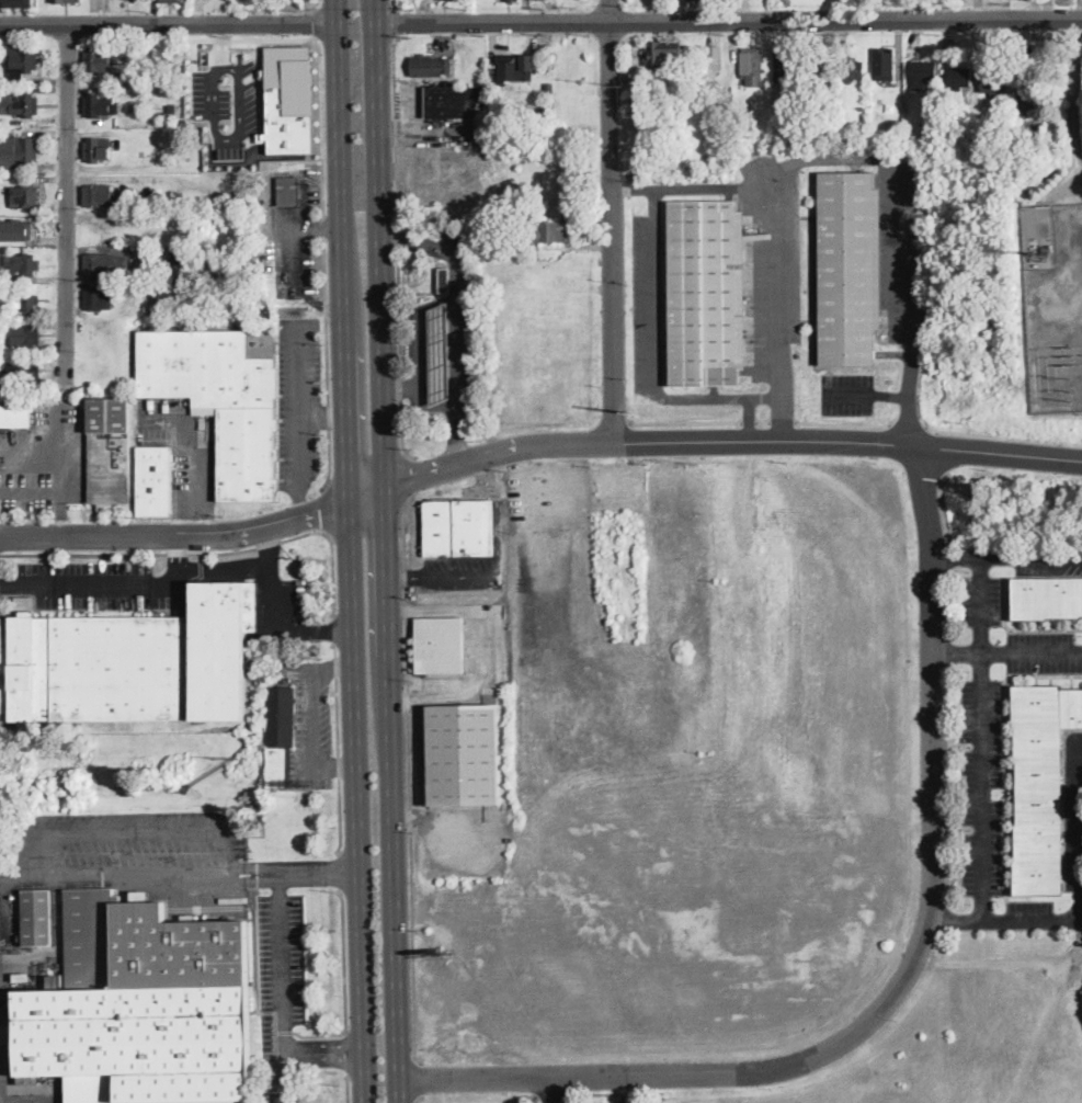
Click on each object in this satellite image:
building: (62, 1)
building: (171, 1)
building: (510, 1)
road: (392, 2)
building: (18, 3)
power tower: (625, 5)
road: (314, 7)
road: (375, 10)
road: (251, 11)
road: (394, 20)
road: (729, 21)
road: (316, 22)
road: (168, 23)
road: (251, 38)
road: (221, 45)
building: (661, 53)
building: (715, 57)
building: (23, 61)
building: (98, 61)
building: (783, 64)
building: (884, 64)
building: (817, 65)
building: (430, 66)
building: (752, 66)
building: (854, 69)
building: (924, 70)
building: (513, 71)
building: (115, 77)
building: (959, 77)
building: (132, 78)
building: (993, 83)
road: (260, 84)
power tower: (626, 86)
road: (240, 87)
building: (549, 88)
building: (1025, 95)
building: (133, 99)
road: (213, 100)
building: (289, 100)
building: (456, 102)
building: (19, 103)
parking lot: (226, 104)
building: (935, 105)
building: (98, 106)
building: (172, 107)
road: (236, 137)
building: (1016, 137)
building: (98, 149)
building: (18, 151)
building: (289, 191)
building: (25, 195)
building: (99, 195)
road: (396, 202)
road: (68, 205)
building: (127, 205)
road: (913, 208)
road: (611, 220)
road: (783, 226)
building: (15, 230)
building: (549, 232)
building: (499, 237)
building: (182, 257)
building: (23, 264)
road: (324, 264)
building: (102, 265)
building: (851, 268)
building: (444, 281)
building: (126, 283)
road: (458, 286)
building: (707, 293)
building: (175, 297)
building: (98, 298)
building: (24, 300)
power substation: (1053, 304)
building: (0, 326)
road: (419, 327)
building: (26, 334)
building: (2, 349)
building: (440, 353)
road: (659, 353)
building: (24, 369)
road: (400, 384)
road: (402, 386)
power tower: (1074, 389)
road: (847, 393)
building: (223, 397)
parking lot: (300, 401)
road: (908, 403)
road: (301, 407)
power tower: (633, 411)
road: (323, 413)
building: (15, 416)
road: (749, 421)
road: (763, 421)
road: (782, 421)
road: (685, 422)
road: (844, 424)
road: (909, 425)
road: (400, 430)
road: (458, 432)
road: (1003, 436)
road: (711, 440)
building: (110, 451)
parking lot: (184, 451)
road: (196, 462)
road: (408, 476)
building: (155, 481)
road: (548, 482)
road: (57, 489)
parking lot: (548, 496)
road: (945, 504)
road: (303, 507)
road: (328, 509)
road: (197, 525)
building: (458, 526)
road: (176, 537)
road: (350, 551)
road: (206, 553)
road: (1006, 556)
road: (180, 561)
road: (388, 561)
road: (226, 566)
road: (498, 566)
parking lot: (464, 571)
parking lot: (110, 583)
road: (10, 587)
road: (101, 587)
building: (1047, 598)
road: (981, 605)
road: (276, 611)
road: (334, 629)
building: (440, 646)
road: (488, 652)
road: (956, 653)
building: (130, 662)
building: (281, 734)
road: (339, 748)
building: (460, 754)
road: (408, 774)
building: (1041, 785)
road: (980, 786)
road: (1075, 821)
road: (135, 832)
parking lot: (132, 846)
road: (41, 852)
road: (228, 853)
road: (339, 872)
road: (20, 873)
road: (134, 873)
road: (253, 873)
road: (318, 873)
building: (36, 918)
road: (954, 919)
building: (176, 948)
road: (280, 963)
parking lot: (280, 975)
building: (22, 976)
road: (906, 977)
road: (345, 987)
building: (132, 1025)
road: (346, 1053)
road: (323, 1054)
road: (415, 1076)
road: (349, 1088)
road: (551, 1090)
road: (417, 1100)

